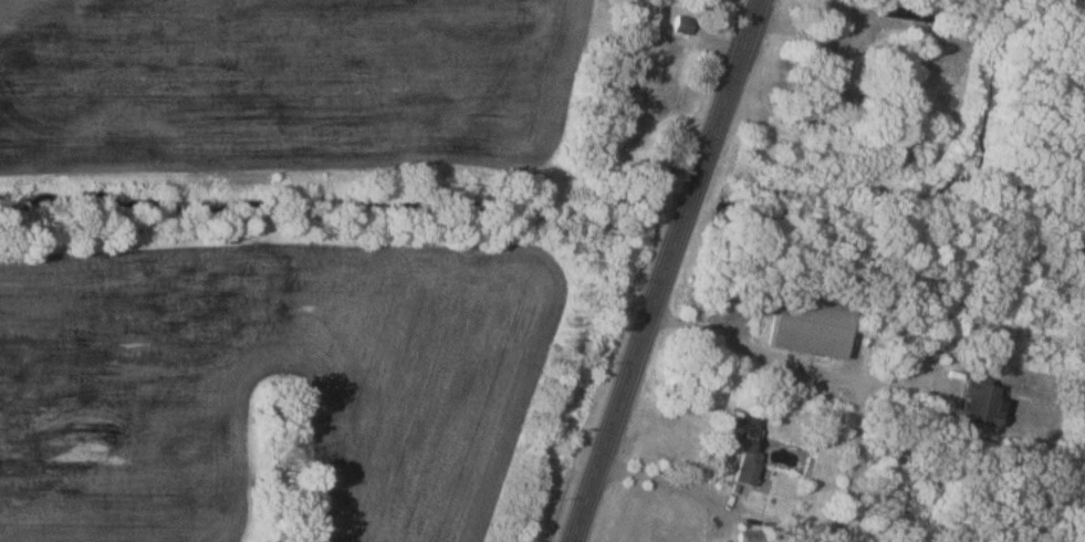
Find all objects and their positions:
building: (907, 12)
building: (686, 24)
building: (899, 55)
building: (838, 77)
building: (924, 117)
road: (667, 269)
building: (812, 322)
road: (790, 363)
building: (985, 404)
building: (744, 445)
road: (701, 494)

